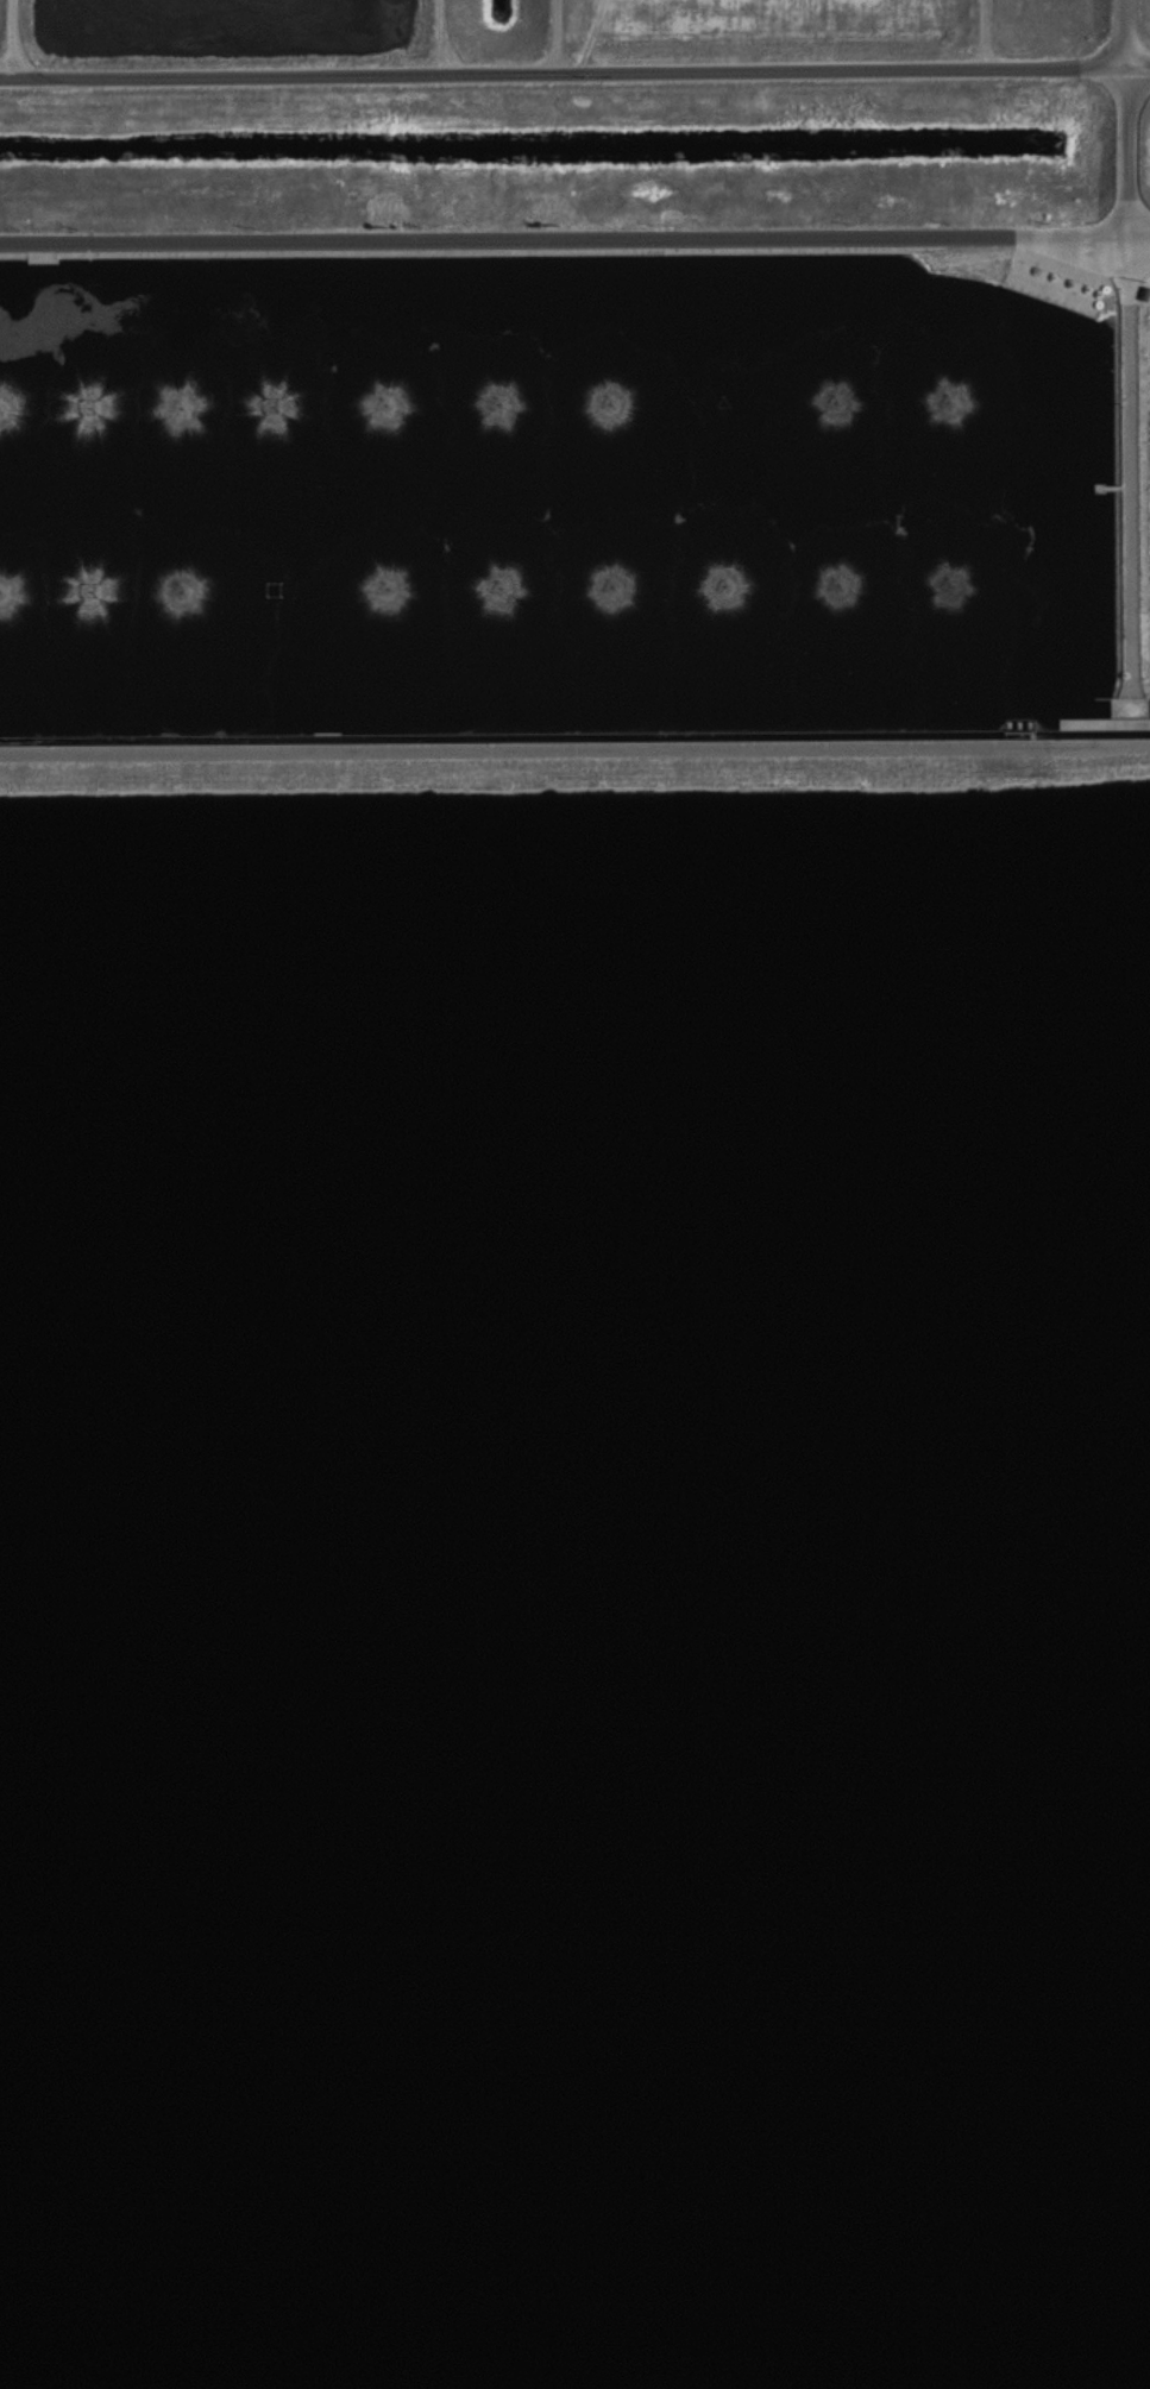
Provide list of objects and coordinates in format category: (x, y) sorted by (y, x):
road: (1130, 32)
road: (574, 70)
wastewater plant: (574, 1194)

